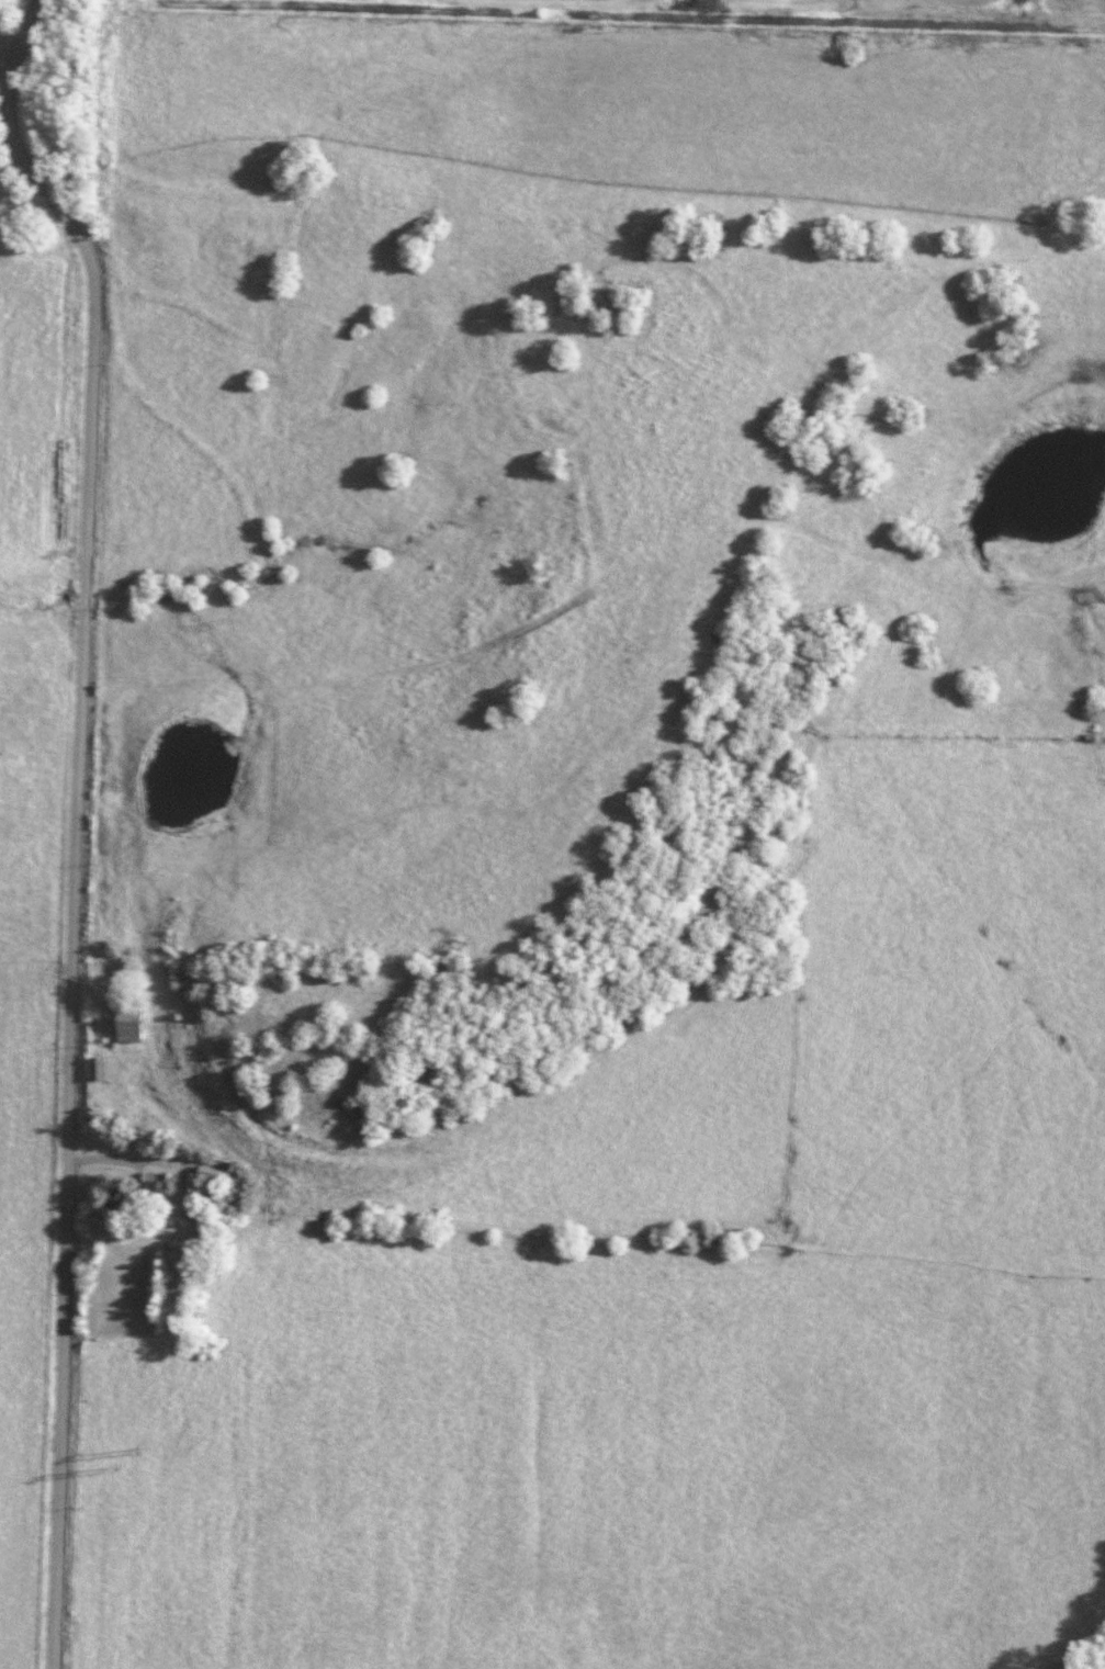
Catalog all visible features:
road: (78, 820)
building: (127, 1022)
building: (95, 1067)
building: (119, 1196)
power tower: (160, 1448)
power tower: (115, 1469)

